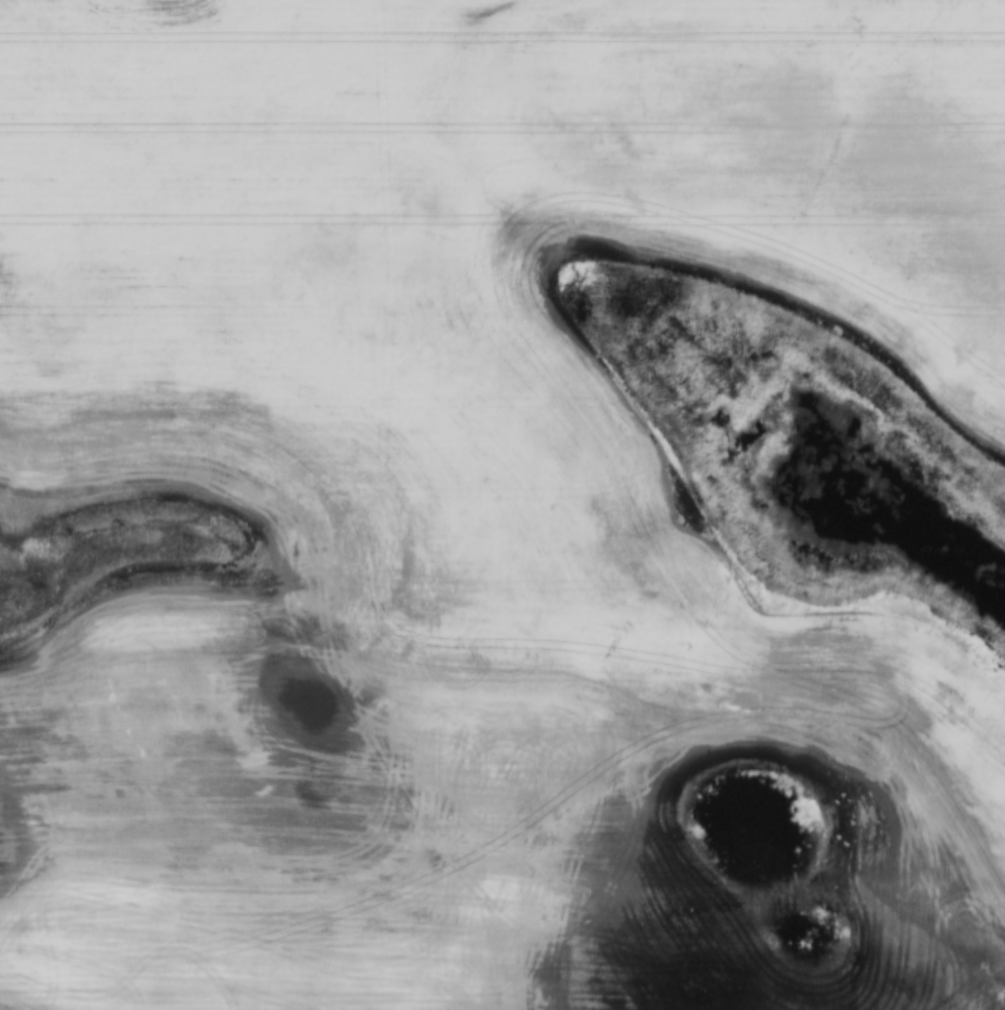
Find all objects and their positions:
crop: (439, 286)

